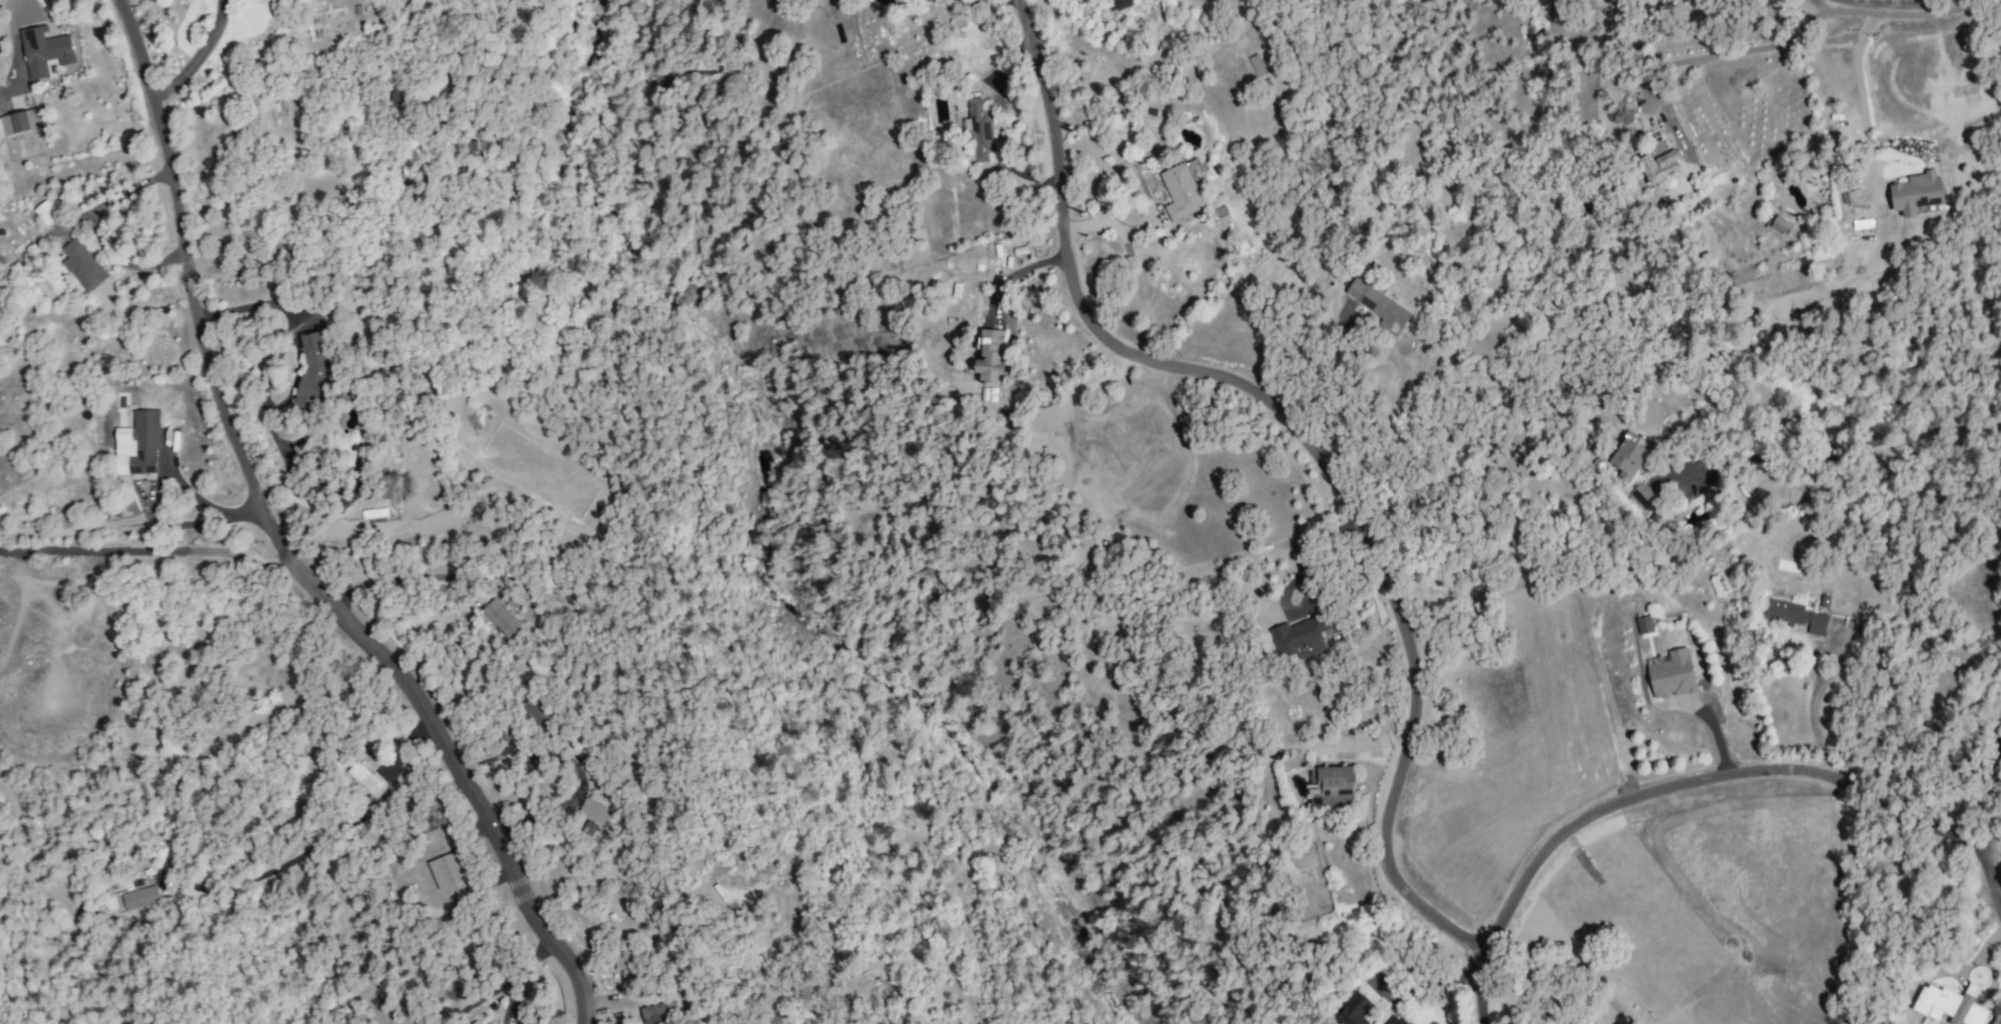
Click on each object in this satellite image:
road: (1822, 5)
road: (1803, 22)
building: (46, 52)
road: (197, 56)
building: (1255, 65)
building: (394, 97)
road: (1862, 102)
building: (19, 122)
building: (979, 132)
building: (1657, 149)
building: (1659, 167)
building: (1180, 192)
building: (1916, 195)
road: (297, 221)
building: (1778, 225)
building: (81, 265)
building: (1378, 305)
building: (990, 356)
road: (1330, 380)
building: (143, 442)
road: (1833, 453)
building: (1627, 458)
road: (1322, 462)
road: (150, 481)
building: (1642, 495)
building: (373, 513)
road: (276, 547)
road: (110, 552)
road: (254, 562)
building: (1824, 601)
building: (1795, 616)
building: (1643, 625)
building: (1300, 637)
building: (537, 714)
road: (1813, 721)
building: (509, 734)
building: (363, 778)
road: (1706, 782)
building: (1331, 787)
building: (592, 816)
road: (1994, 825)
road: (327, 842)
building: (445, 871)
building: (139, 898)
building: (625, 962)
building: (1950, 1005)
building: (1352, 1010)
building: (658, 1013)
building: (1392, 1021)
building: (1372, 1023)

